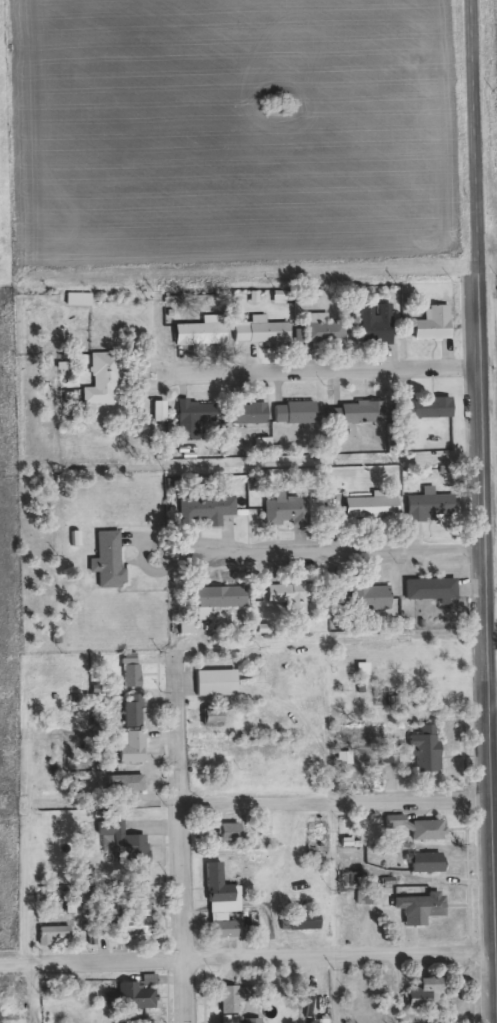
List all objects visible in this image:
road: (476, 104)
building: (80, 298)
building: (379, 322)
building: (437, 323)
building: (326, 329)
building: (264, 332)
building: (202, 334)
road: (337, 370)
building: (106, 378)
building: (434, 406)
building: (161, 410)
building: (253, 412)
building: (297, 412)
building: (365, 412)
building: (196, 418)
building: (431, 504)
building: (373, 506)
building: (209, 507)
building: (288, 509)
road: (488, 525)
road: (336, 557)
building: (110, 559)
building: (433, 588)
building: (294, 592)
building: (222, 596)
building: (372, 596)
building: (205, 632)
building: (133, 669)
building: (219, 681)
road: (495, 699)
building: (134, 709)
building: (215, 715)
building: (135, 748)
building: (429, 749)
building: (346, 758)
building: (130, 783)
road: (337, 806)
building: (417, 827)
building: (231, 831)
building: (126, 837)
road: (179, 838)
building: (430, 862)
building: (223, 891)
building: (424, 905)
building: (306, 920)
building: (143, 926)
building: (225, 928)
building: (57, 934)
road: (248, 960)
building: (428, 990)
building: (137, 994)
building: (235, 998)

